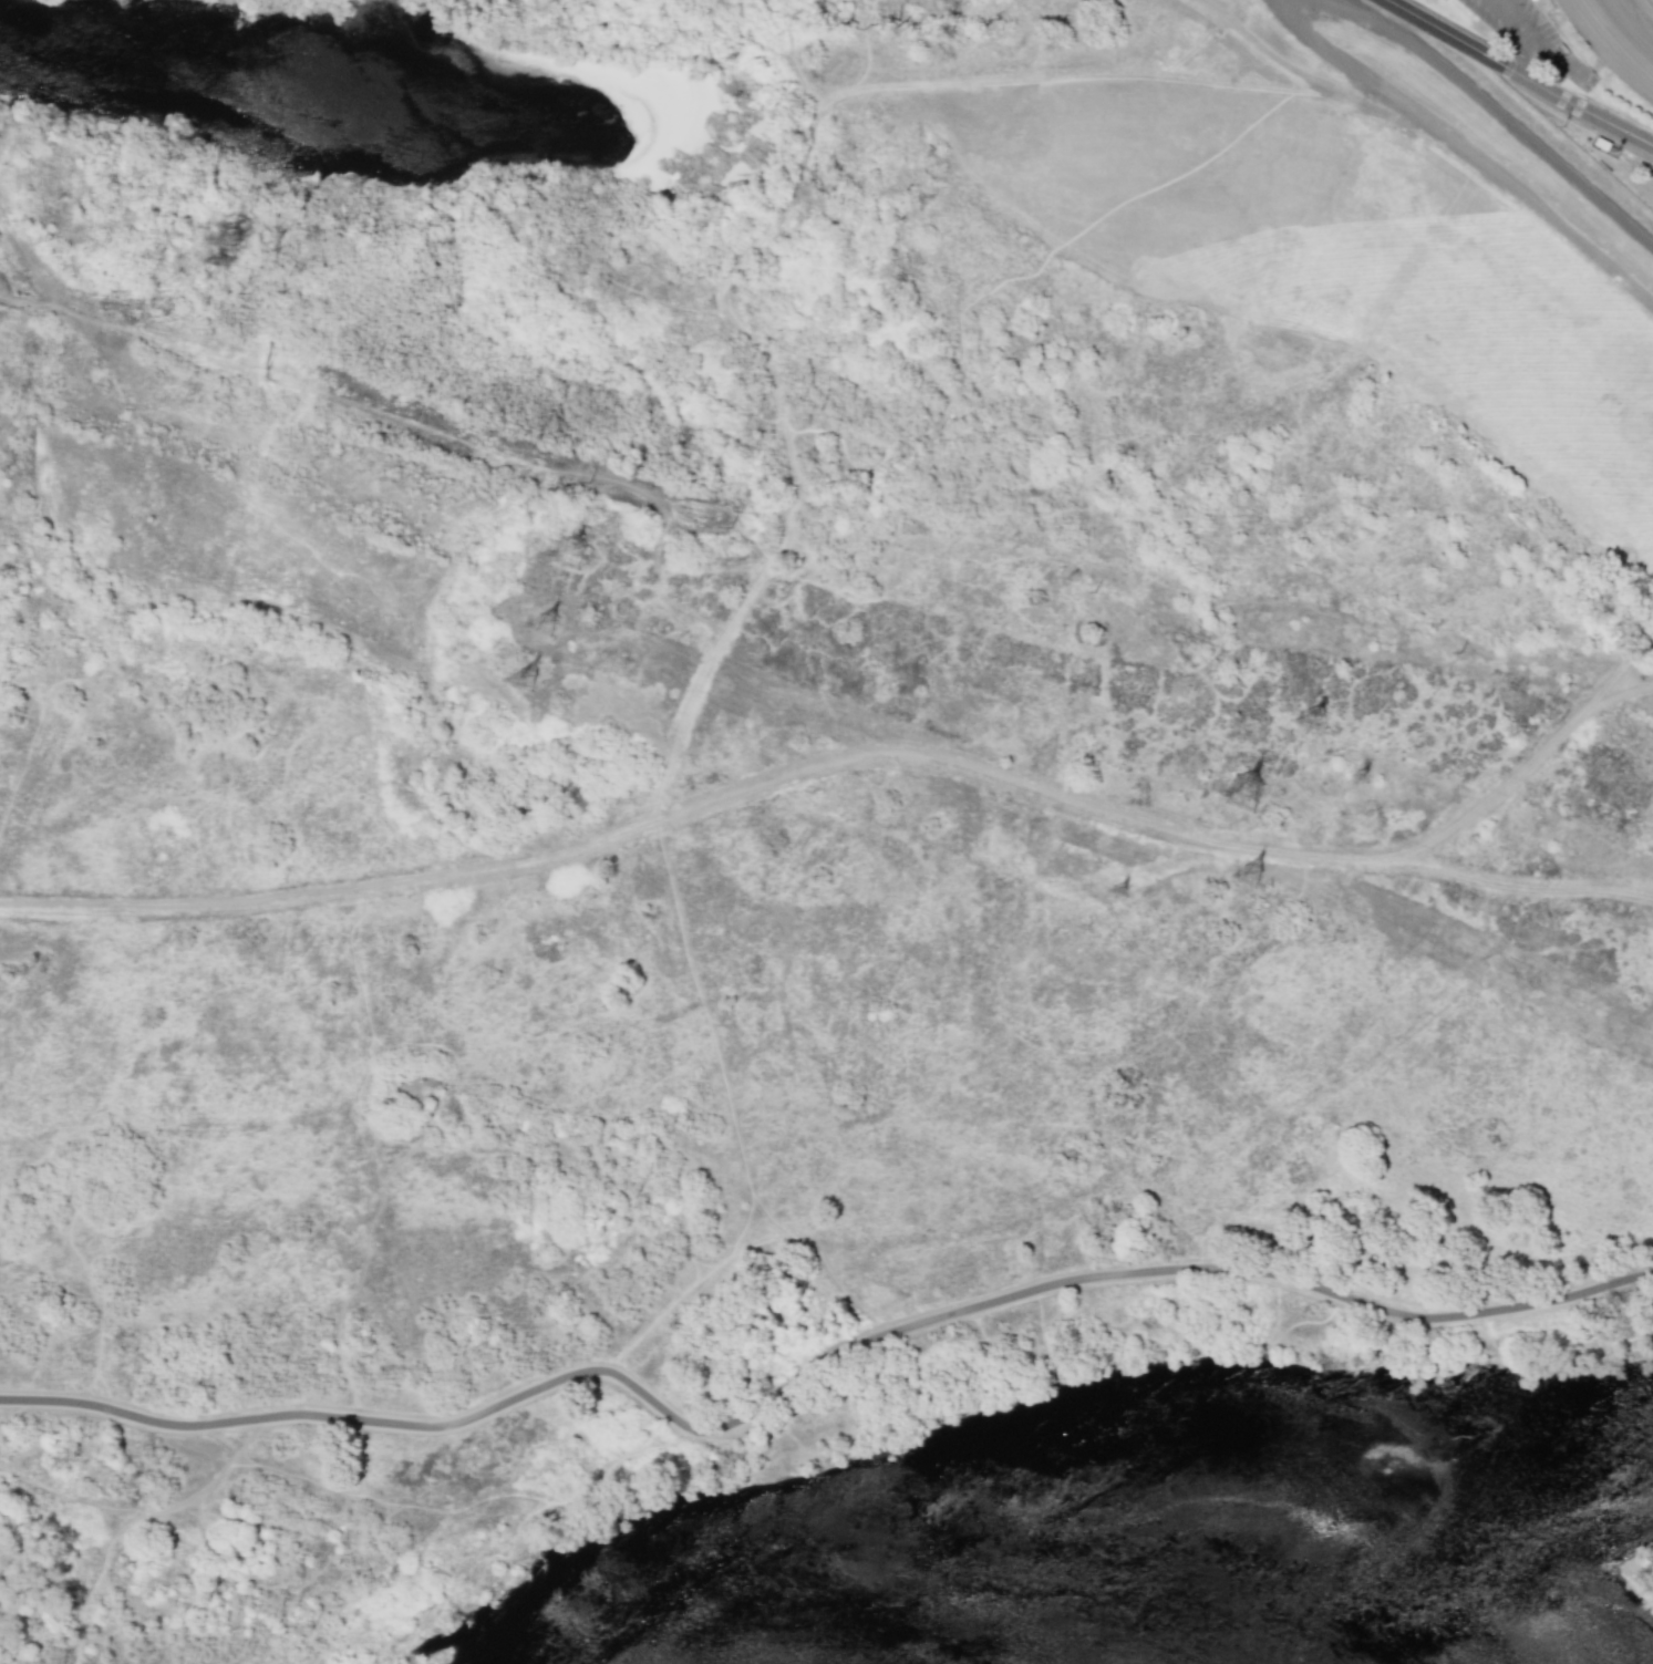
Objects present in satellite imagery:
road: (1510, 13)
track: (1619, 37)
track: (1619, 37)
road: (1529, 39)
road: (1126, 41)
road: (1520, 53)
road: (1273, 55)
road: (1518, 75)
theme park: (1553, 80)
road: (1496, 116)
road: (1464, 151)
road: (792, 205)
power tower: (580, 554)
power tower: (552, 626)
power tower: (535, 680)
power tower: (1316, 719)
road: (161, 744)
road: (865, 763)
power tower: (1362, 775)
power tower: (1247, 793)
power tower: (1251, 875)
road: (1528, 887)
power tower: (1120, 892)
road: (948, 1319)
road: (143, 1419)
river: (1140, 1470)
road: (467, 1506)
road: (157, 1507)

